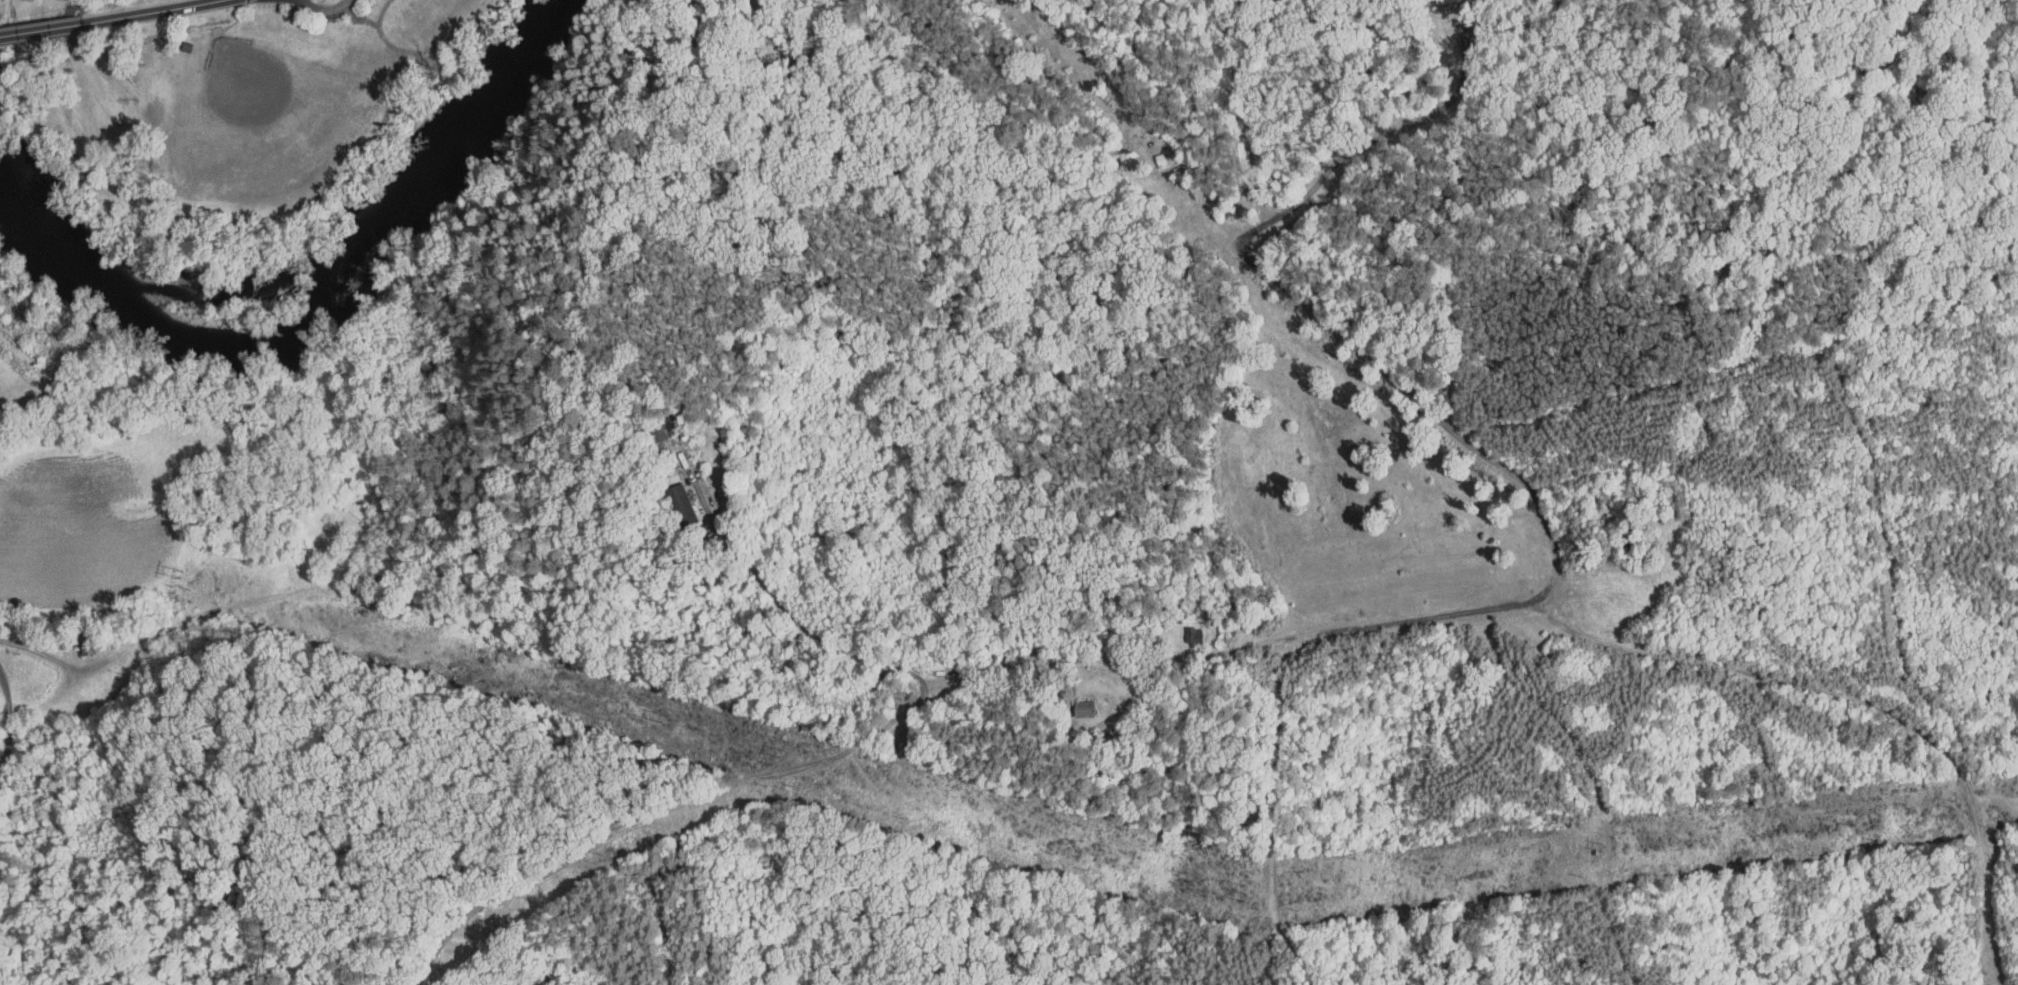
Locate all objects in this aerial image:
road: (327, 10)
road: (150, 11)
road: (240, 16)
road: (359, 16)
road: (42, 29)
building: (188, 46)
road: (424, 52)
park: (254, 115)
road: (1372, 139)
river: (315, 312)
building: (668, 499)
road: (1571, 541)
road: (785, 609)
building: (1180, 628)
road: (971, 682)
road: (5, 697)

